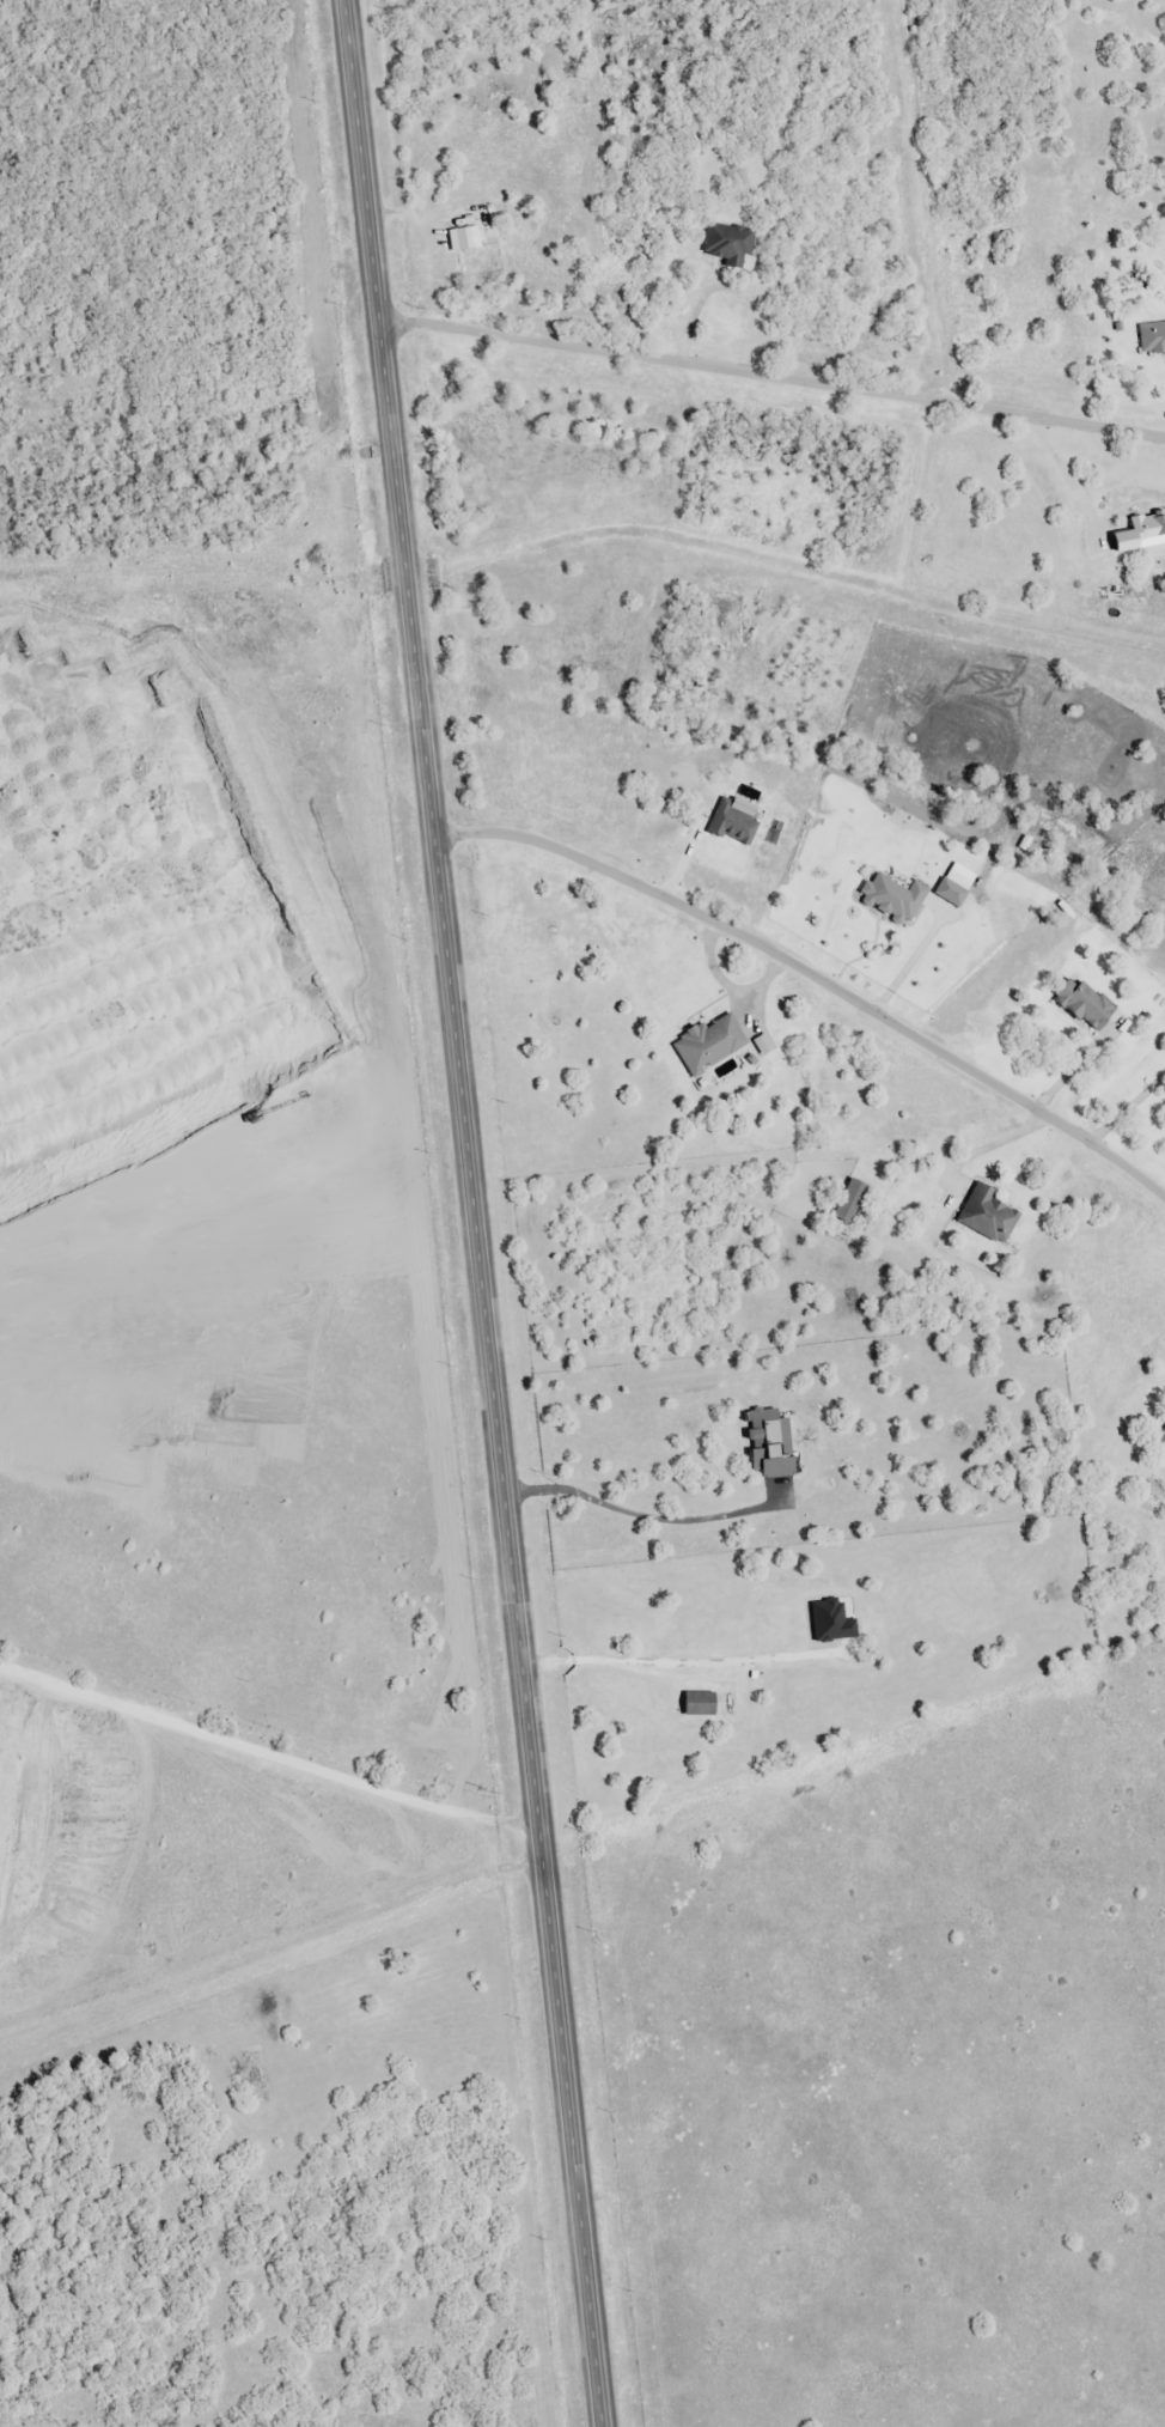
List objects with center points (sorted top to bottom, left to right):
road: (773, 375)
road: (811, 980)
road: (1080, 1065)
road: (1129, 1109)
road: (993, 1145)
road: (475, 1212)
road: (269, 1711)

